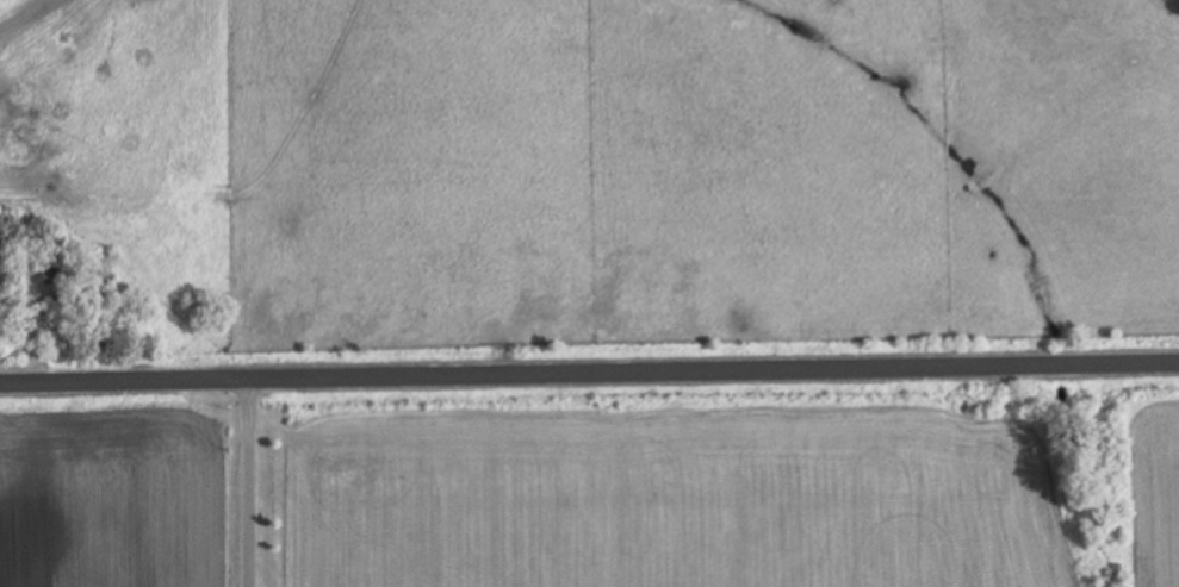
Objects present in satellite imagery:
road: (589, 366)
road: (249, 479)

